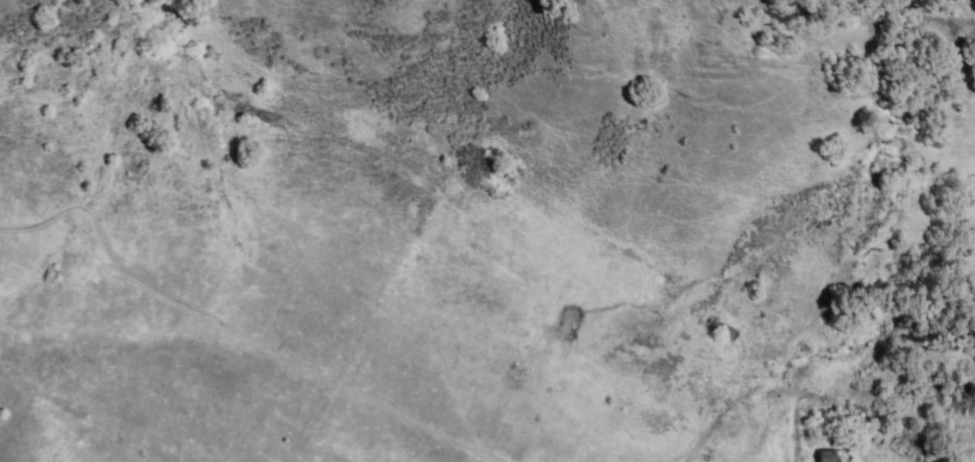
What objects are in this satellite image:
road: (117, 143)
road: (229, 326)
road: (773, 389)
road: (299, 417)
building: (834, 452)

